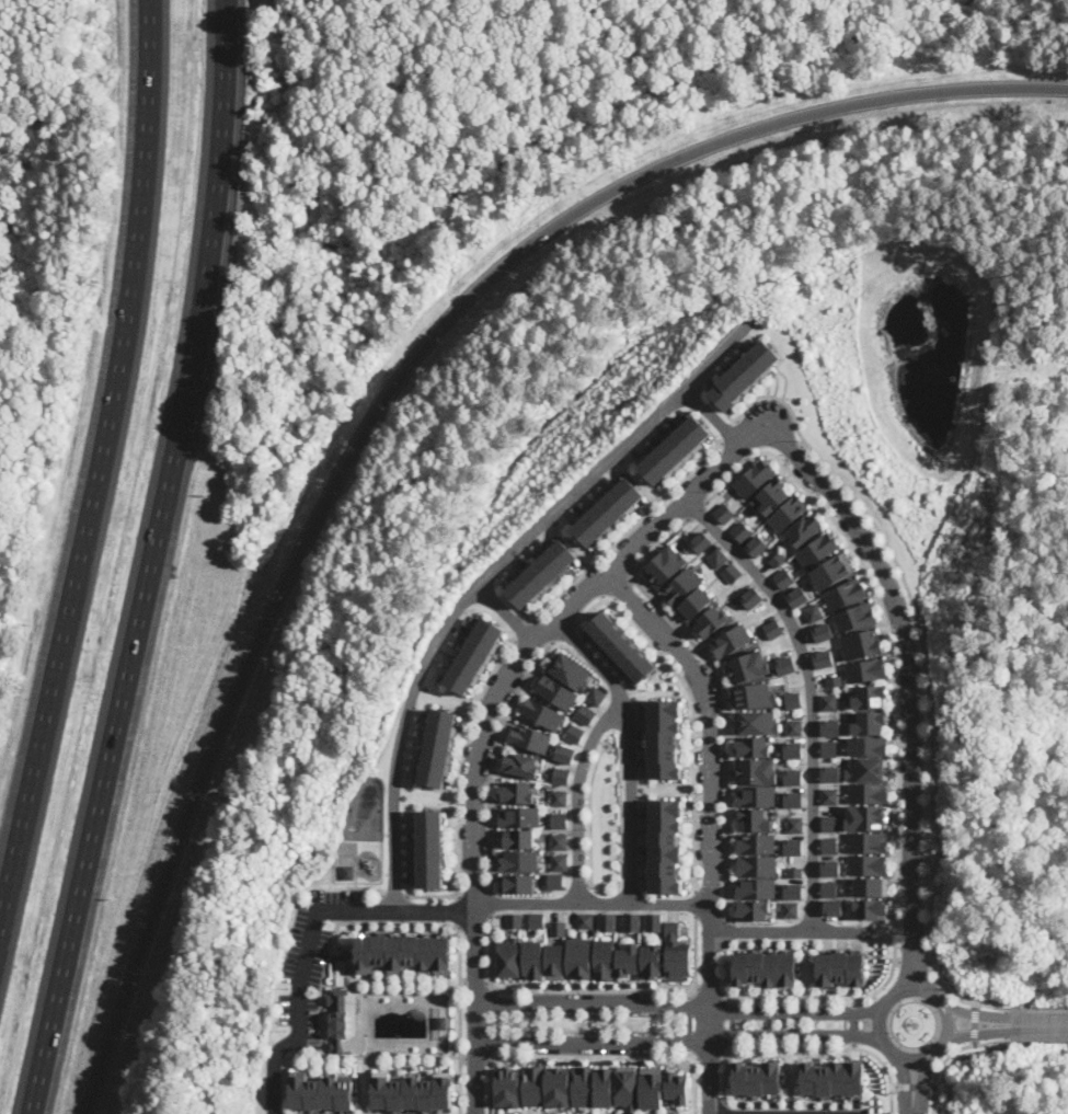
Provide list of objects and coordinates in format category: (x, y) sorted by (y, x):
building: (748, 375)
road: (388, 397)
road: (716, 416)
road: (734, 433)
road: (804, 444)
road: (736, 447)
building: (678, 450)
road: (795, 452)
road: (749, 459)
road: (786, 460)
road: (97, 468)
building: (757, 478)
building: (774, 495)
road: (699, 509)
building: (611, 513)
building: (727, 513)
building: (790, 514)
building: (806, 529)
building: (744, 531)
road: (630, 532)
building: (703, 541)
building: (759, 545)
road: (657, 548)
building: (819, 550)
building: (720, 556)
building: (780, 559)
road: (151, 560)
building: (668, 564)
building: (835, 571)
building: (733, 572)
road: (491, 574)
building: (544, 575)
building: (786, 578)
road: (623, 589)
building: (847, 593)
building: (689, 594)
building: (800, 597)
road: (615, 598)
building: (754, 598)
road: (605, 600)
building: (815, 612)
road: (508, 613)
building: (855, 617)
road: (560, 619)
building: (712, 621)
building: (774, 629)
road: (528, 632)
building: (824, 632)
road: (565, 633)
building: (732, 641)
building: (862, 644)
building: (623, 646)
building: (479, 656)
building: (825, 658)
building: (786, 665)
building: (749, 666)
building: (868, 669)
building: (572, 670)
road: (898, 676)
road: (929, 680)
building: (835, 681)
road: (915, 682)
building: (558, 692)
road: (811, 693)
building: (754, 694)
building: (597, 696)
building: (871, 697)
building: (794, 700)
building: (829, 702)
building: (543, 713)
building: (586, 714)
building: (756, 722)
building: (870, 722)
building: (794, 727)
building: (831, 727)
building: (576, 733)
road: (724, 733)
building: (531, 737)
building: (664, 738)
building: (870, 745)
building: (753, 746)
building: (440, 747)
road: (693, 747)
building: (830, 748)
road: (630, 749)
building: (793, 749)
building: (566, 753)
road: (493, 758)
building: (524, 765)
building: (868, 768)
building: (757, 770)
building: (830, 773)
building: (562, 776)
building: (792, 777)
road: (459, 783)
building: (518, 792)
building: (869, 793)
building: (755, 795)
building: (829, 795)
road: (576, 796)
building: (560, 797)
building: (793, 800)
road: (589, 813)
park: (605, 816)
building: (520, 817)
building: (866, 817)
building: (754, 819)
building: (560, 820)
building: (829, 823)
building: (794, 825)
road: (709, 826)
building: (517, 838)
building: (560, 841)
building: (869, 841)
building: (756, 843)
building: (664, 845)
building: (829, 846)
building: (793, 847)
building: (432, 849)
building: (520, 860)
building: (559, 862)
building: (869, 864)
building: (755, 865)
building: (830, 868)
building: (349, 872)
building: (794, 872)
building: (554, 881)
building: (517, 883)
building: (872, 885)
road: (367, 887)
building: (755, 887)
building: (829, 888)
building: (793, 891)
road: (458, 894)
road: (397, 895)
road: (490, 903)
road: (589, 903)
road: (693, 905)
building: (834, 907)
building: (871, 908)
building: (751, 909)
building: (790, 909)
road: (416, 912)
road: (458, 912)
building: (514, 920)
building: (536, 920)
building: (584, 920)
building: (606, 921)
building: (631, 921)
building: (653, 921)
building: (556, 928)
road: (724, 932)
road: (789, 932)
building: (403, 953)
building: (675, 953)
building: (507, 957)
building: (576, 957)
parking lot: (312, 960)
building: (531, 960)
building: (601, 960)
building: (625, 960)
building: (553, 961)
building: (650, 961)
road: (910, 961)
road: (931, 962)
building: (765, 968)
building: (840, 968)
road: (322, 981)
road: (462, 981)
road: (473, 981)
road: (485, 981)
road: (356, 987)
road: (693, 987)
road: (589, 990)
road: (494, 991)
road: (708, 992)
road: (722, 992)
road: (895, 992)
road: (475, 996)
road: (298, 999)
road: (763, 1000)
road: (687, 1002)
road: (495, 1004)
road: (677, 1004)
road: (1040, 1010)
road: (529, 1014)
road: (652, 1014)
road: (975, 1015)
road: (622, 1017)
road: (596, 1018)
road: (459, 1019)
road: (531, 1019)
road: (647, 1019)
building: (343, 1022)
building: (440, 1022)
road: (686, 1022)
road: (509, 1023)
park: (585, 1023)
fountain: (592, 1023)
road: (671, 1023)
road: (731, 1023)
road: (852, 1023)
road: (976, 1023)
road: (1040, 1024)
road: (560, 1031)
road: (530, 1032)
road: (652, 1033)
road: (495, 1034)
road: (1041, 1038)
road: (680, 1041)
road: (686, 1044)
road: (940, 1045)
road: (784, 1047)
road: (964, 1047)
road: (708, 1052)
road: (722, 1052)
road: (595, 1055)
road: (334, 1056)
road: (694, 1057)
road: (462, 1058)
road: (474, 1058)
road: (487, 1059)
road: (881, 1060)
road: (904, 1076)
building: (758, 1077)
building: (834, 1077)
road: (724, 1081)
road: (361, 1084)
building: (531, 1084)
building: (581, 1086)
building: (624, 1086)
building: (506, 1087)
building: (554, 1087)
building: (601, 1087)
building: (676, 1087)
road: (914, 1087)
building: (650, 1088)
road: (489, 1090)
building: (321, 1091)
building: (411, 1091)
road: (693, 1094)
road: (935, 1100)
road: (891, 1102)
road: (724, 1109)
road: (912, 1113)

